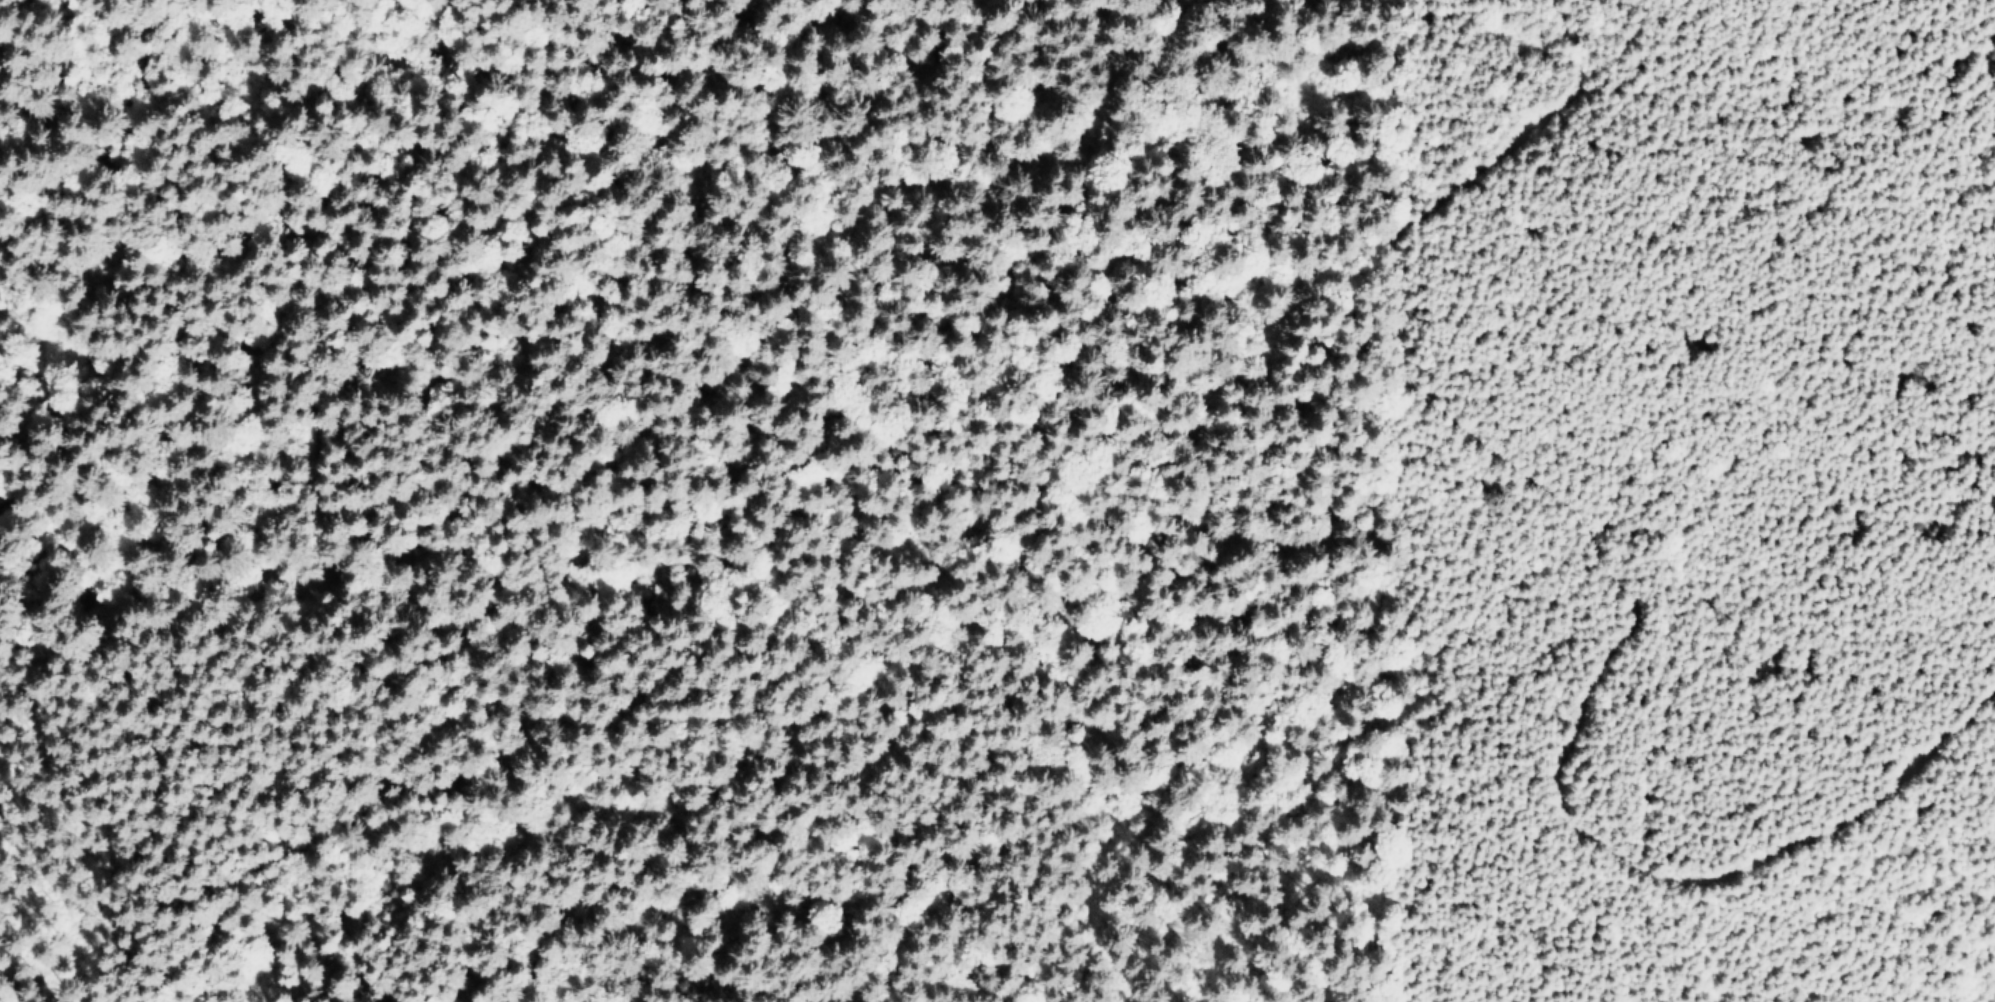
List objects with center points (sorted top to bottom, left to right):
road: (1618, 625)

